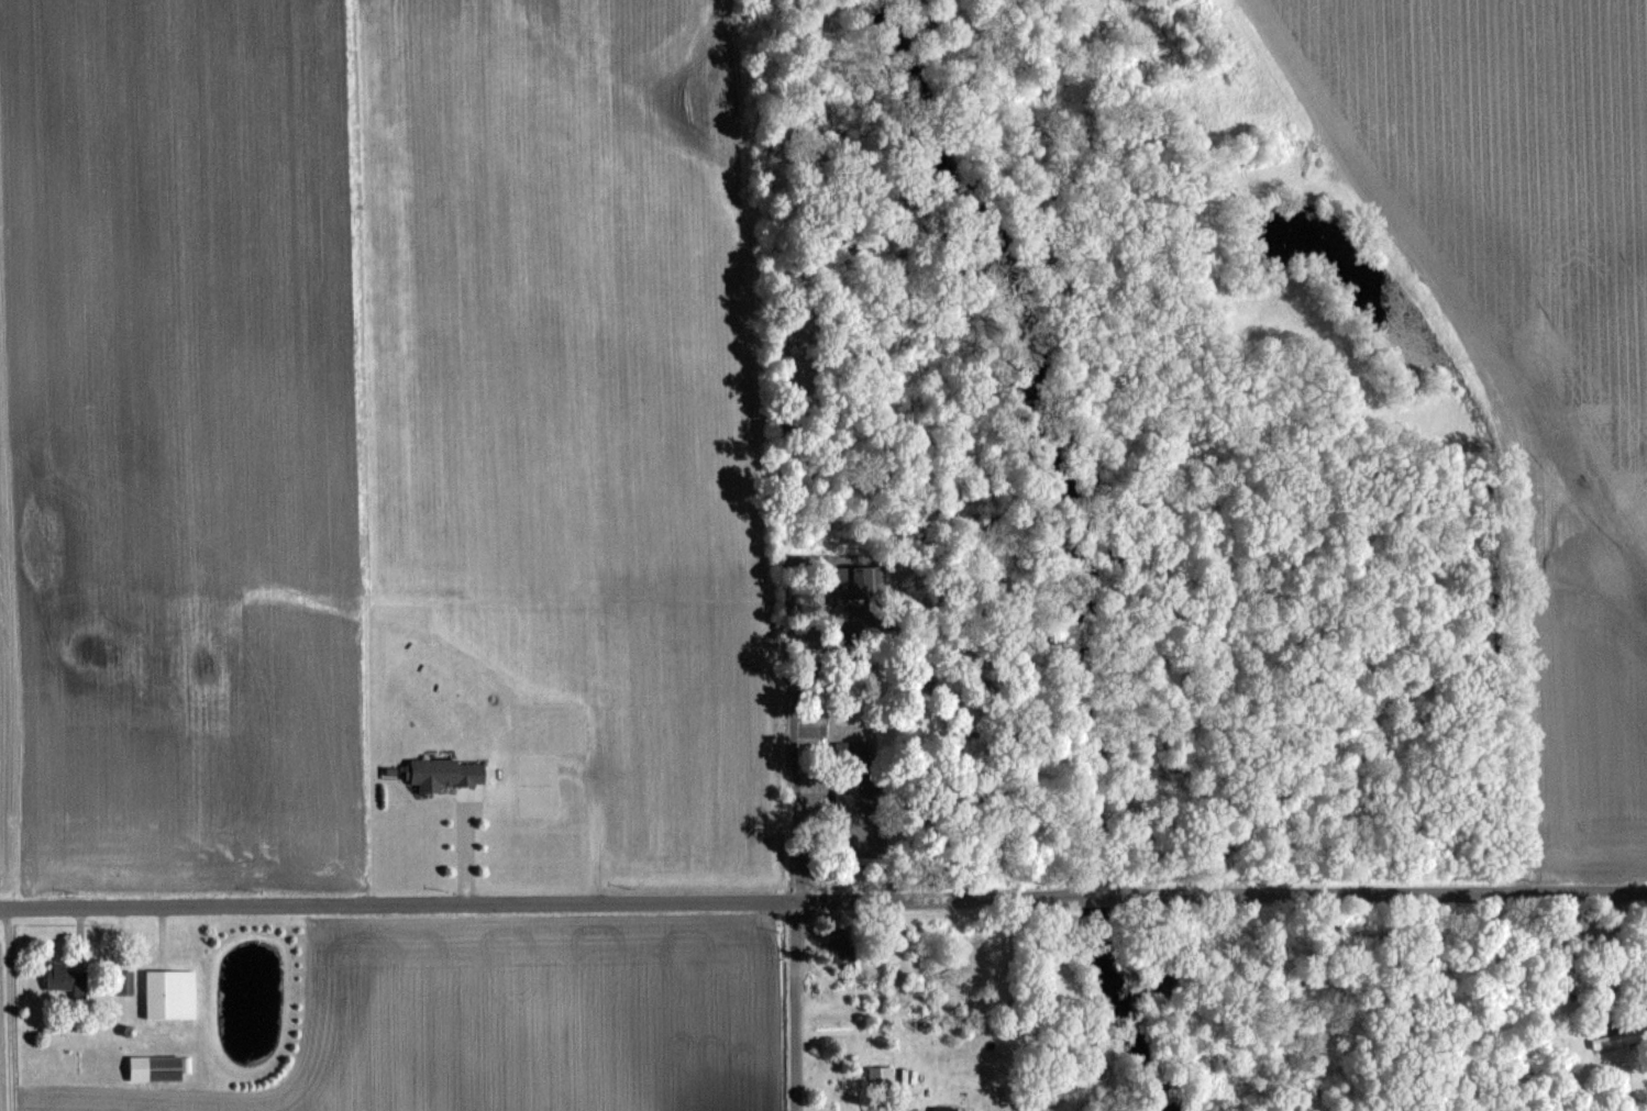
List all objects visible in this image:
building: (865, 582)
building: (450, 773)
building: (853, 798)
road: (467, 849)
road: (1218, 895)
road: (395, 907)
building: (63, 975)
building: (173, 993)
road: (791, 1008)
building: (1617, 1040)
building: (159, 1067)
building: (951, 1108)

